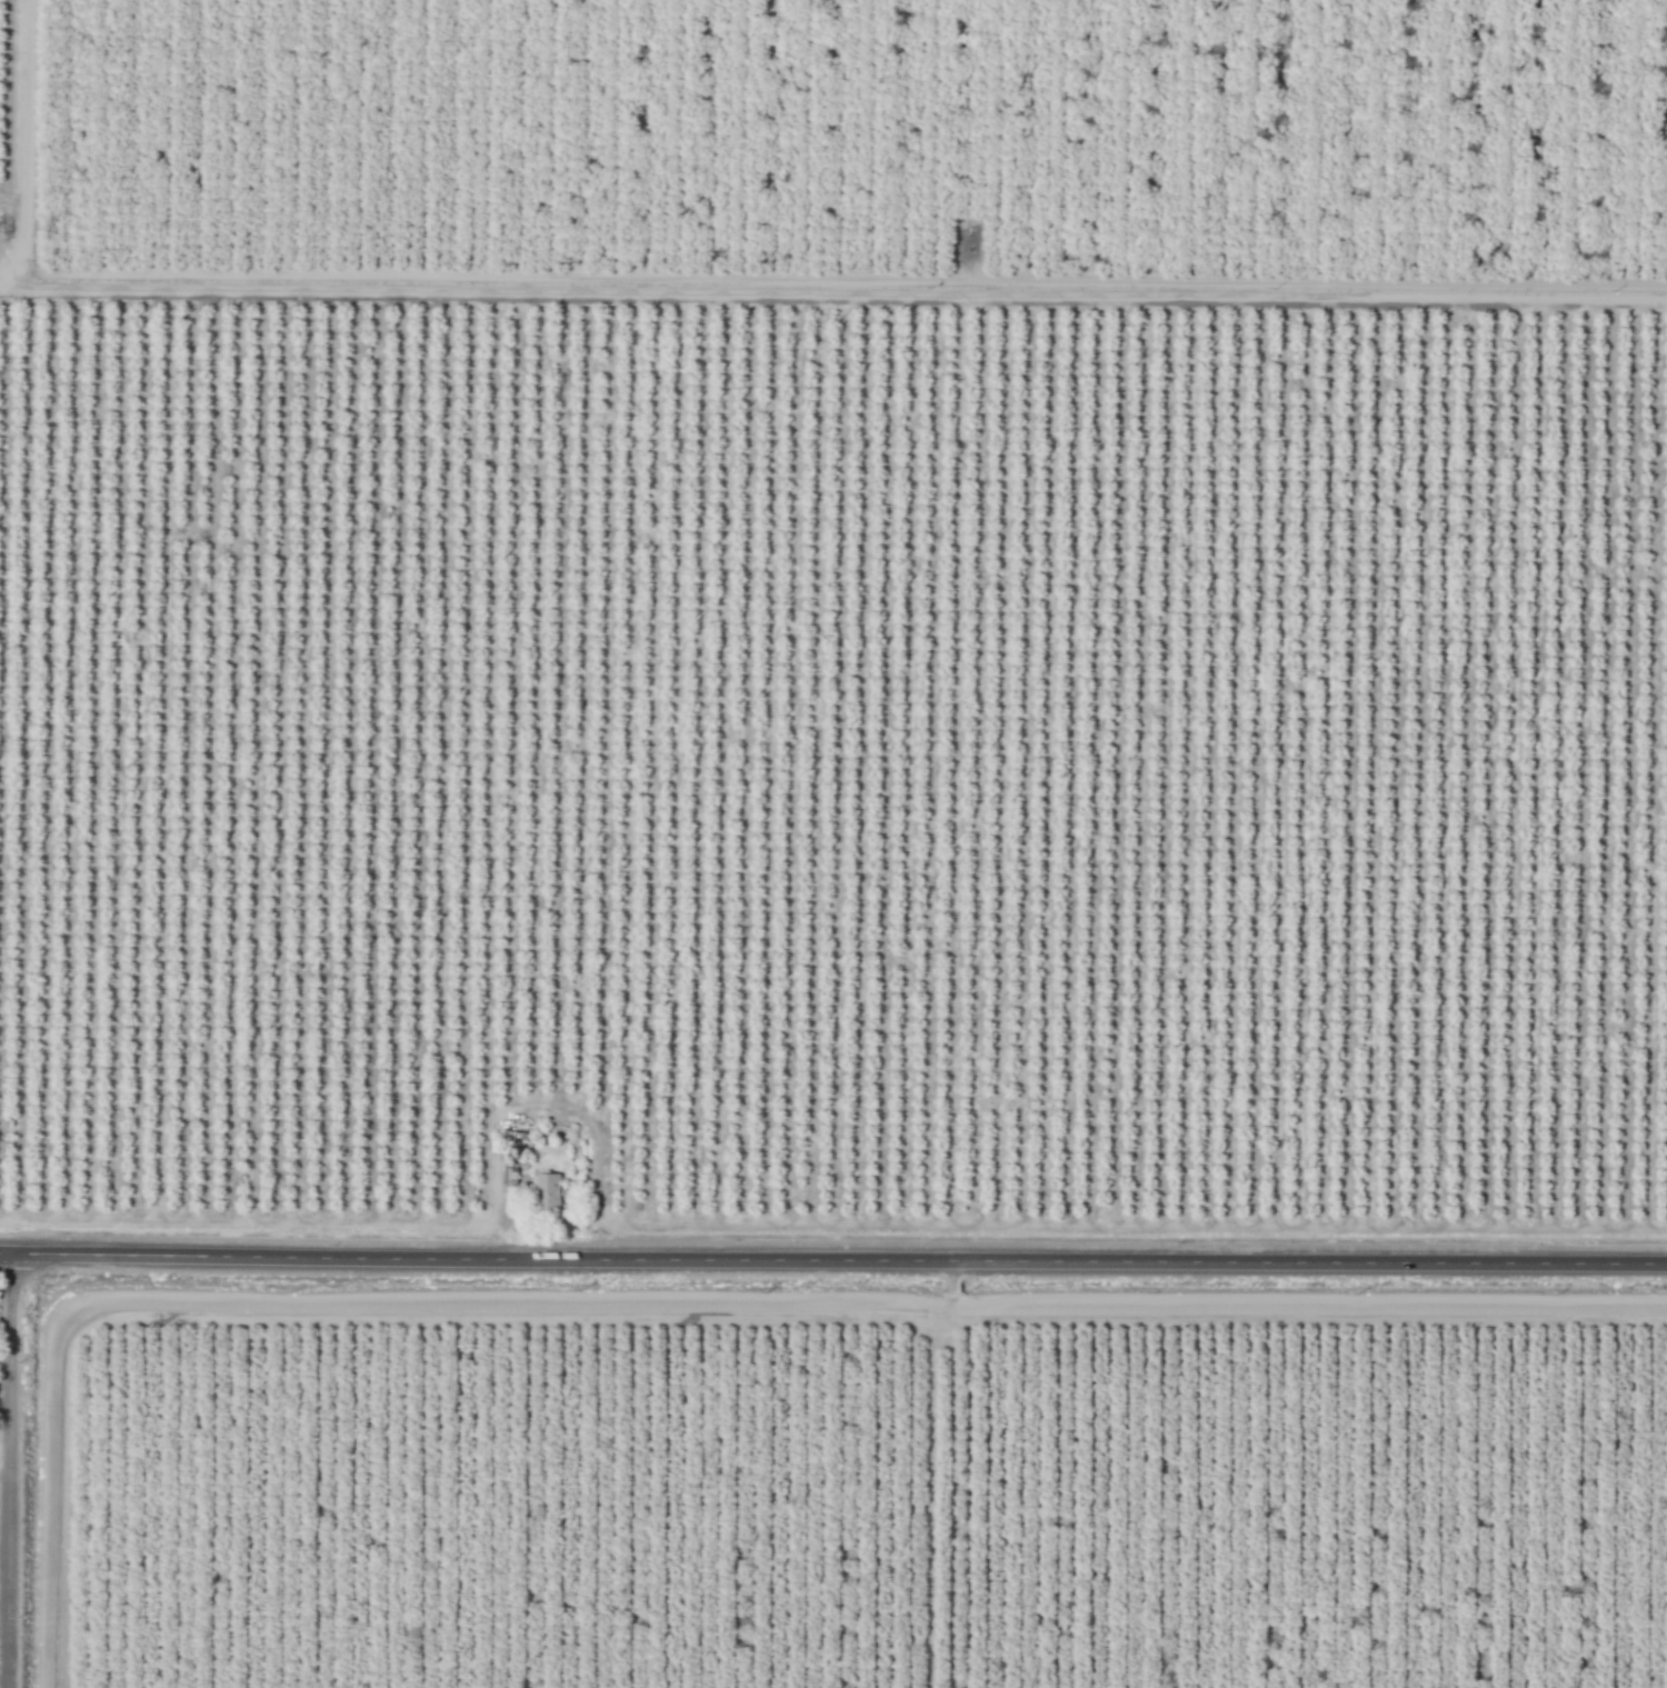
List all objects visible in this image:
building: (549, 1191)
road: (6, 1251)
road: (839, 1258)
road: (7, 1469)

